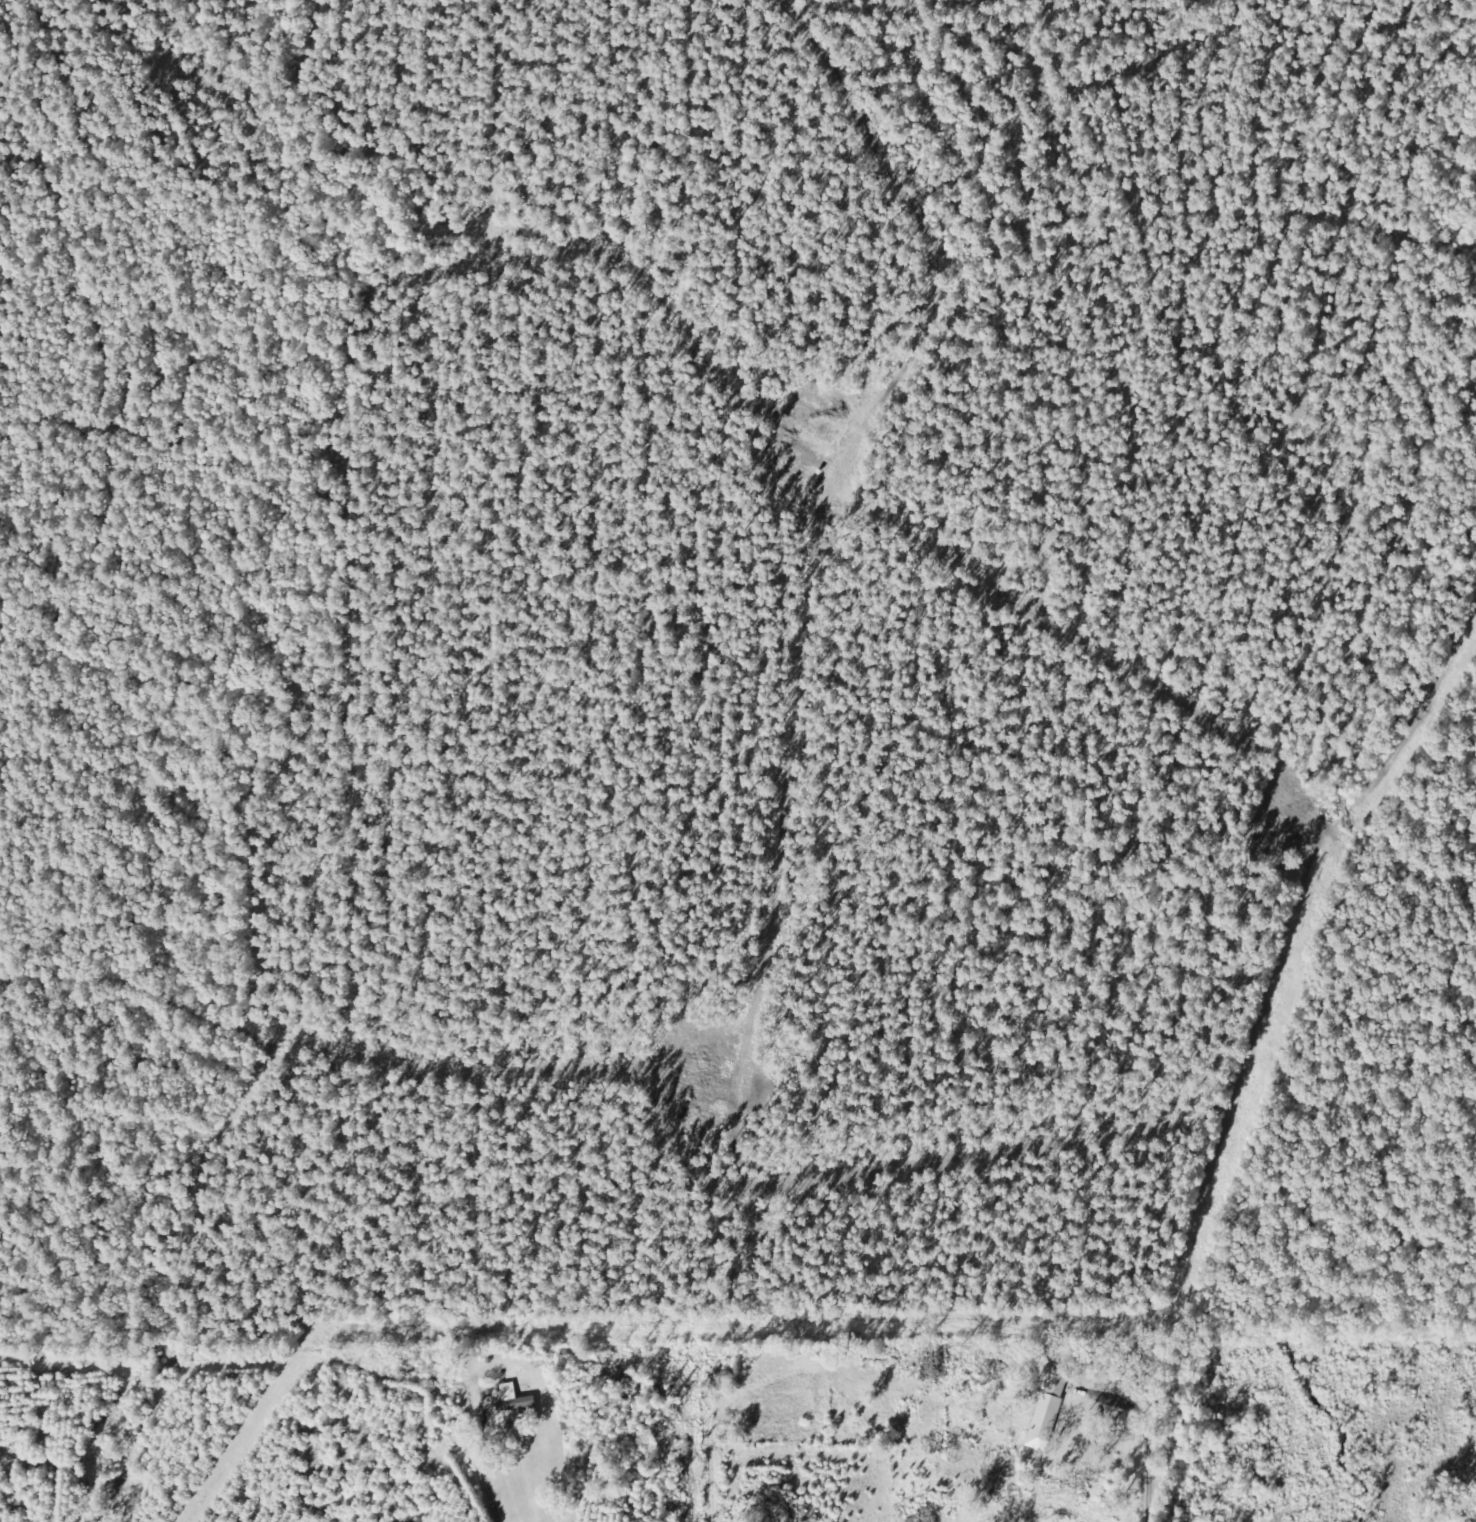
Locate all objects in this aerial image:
road: (1300, 1088)
building: (513, 1403)
building: (1047, 1410)
road: (599, 1457)

